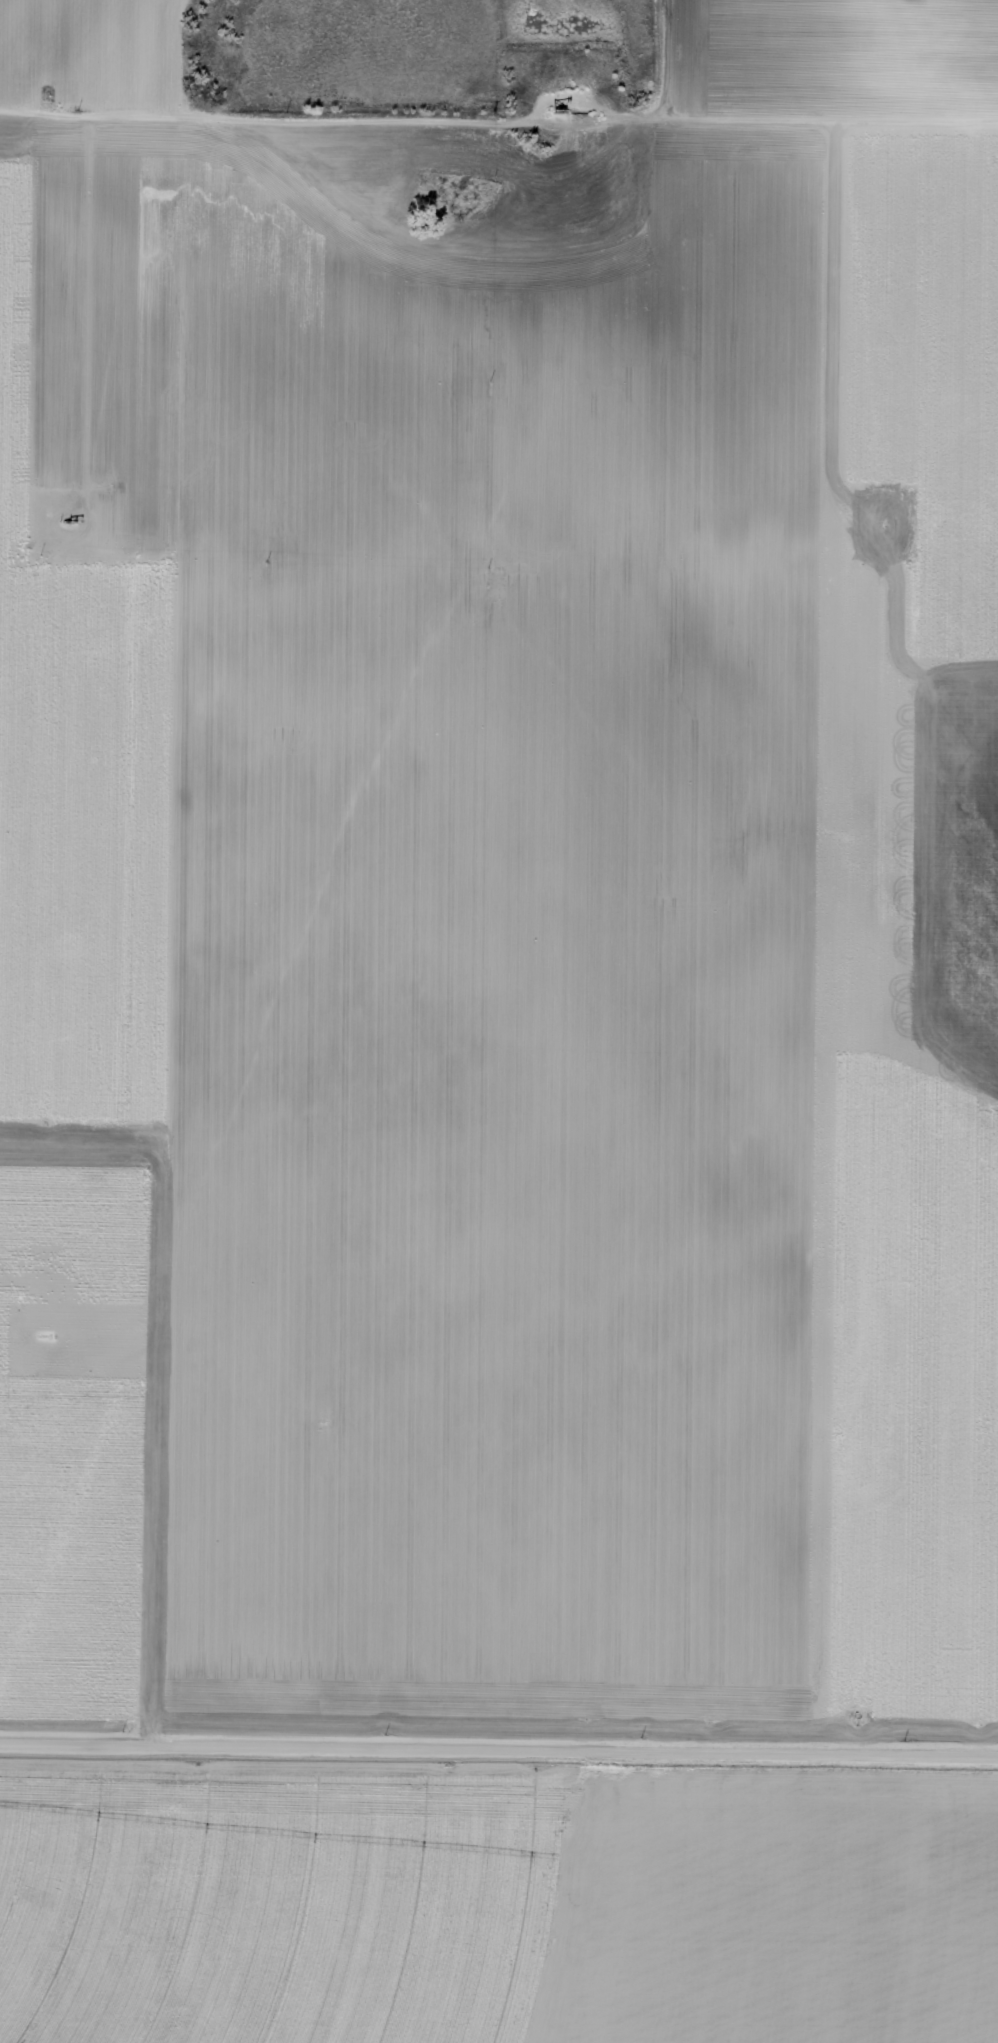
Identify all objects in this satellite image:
road: (649, 63)
petroleum well: (548, 103)
road: (498, 122)
road: (499, 1751)

